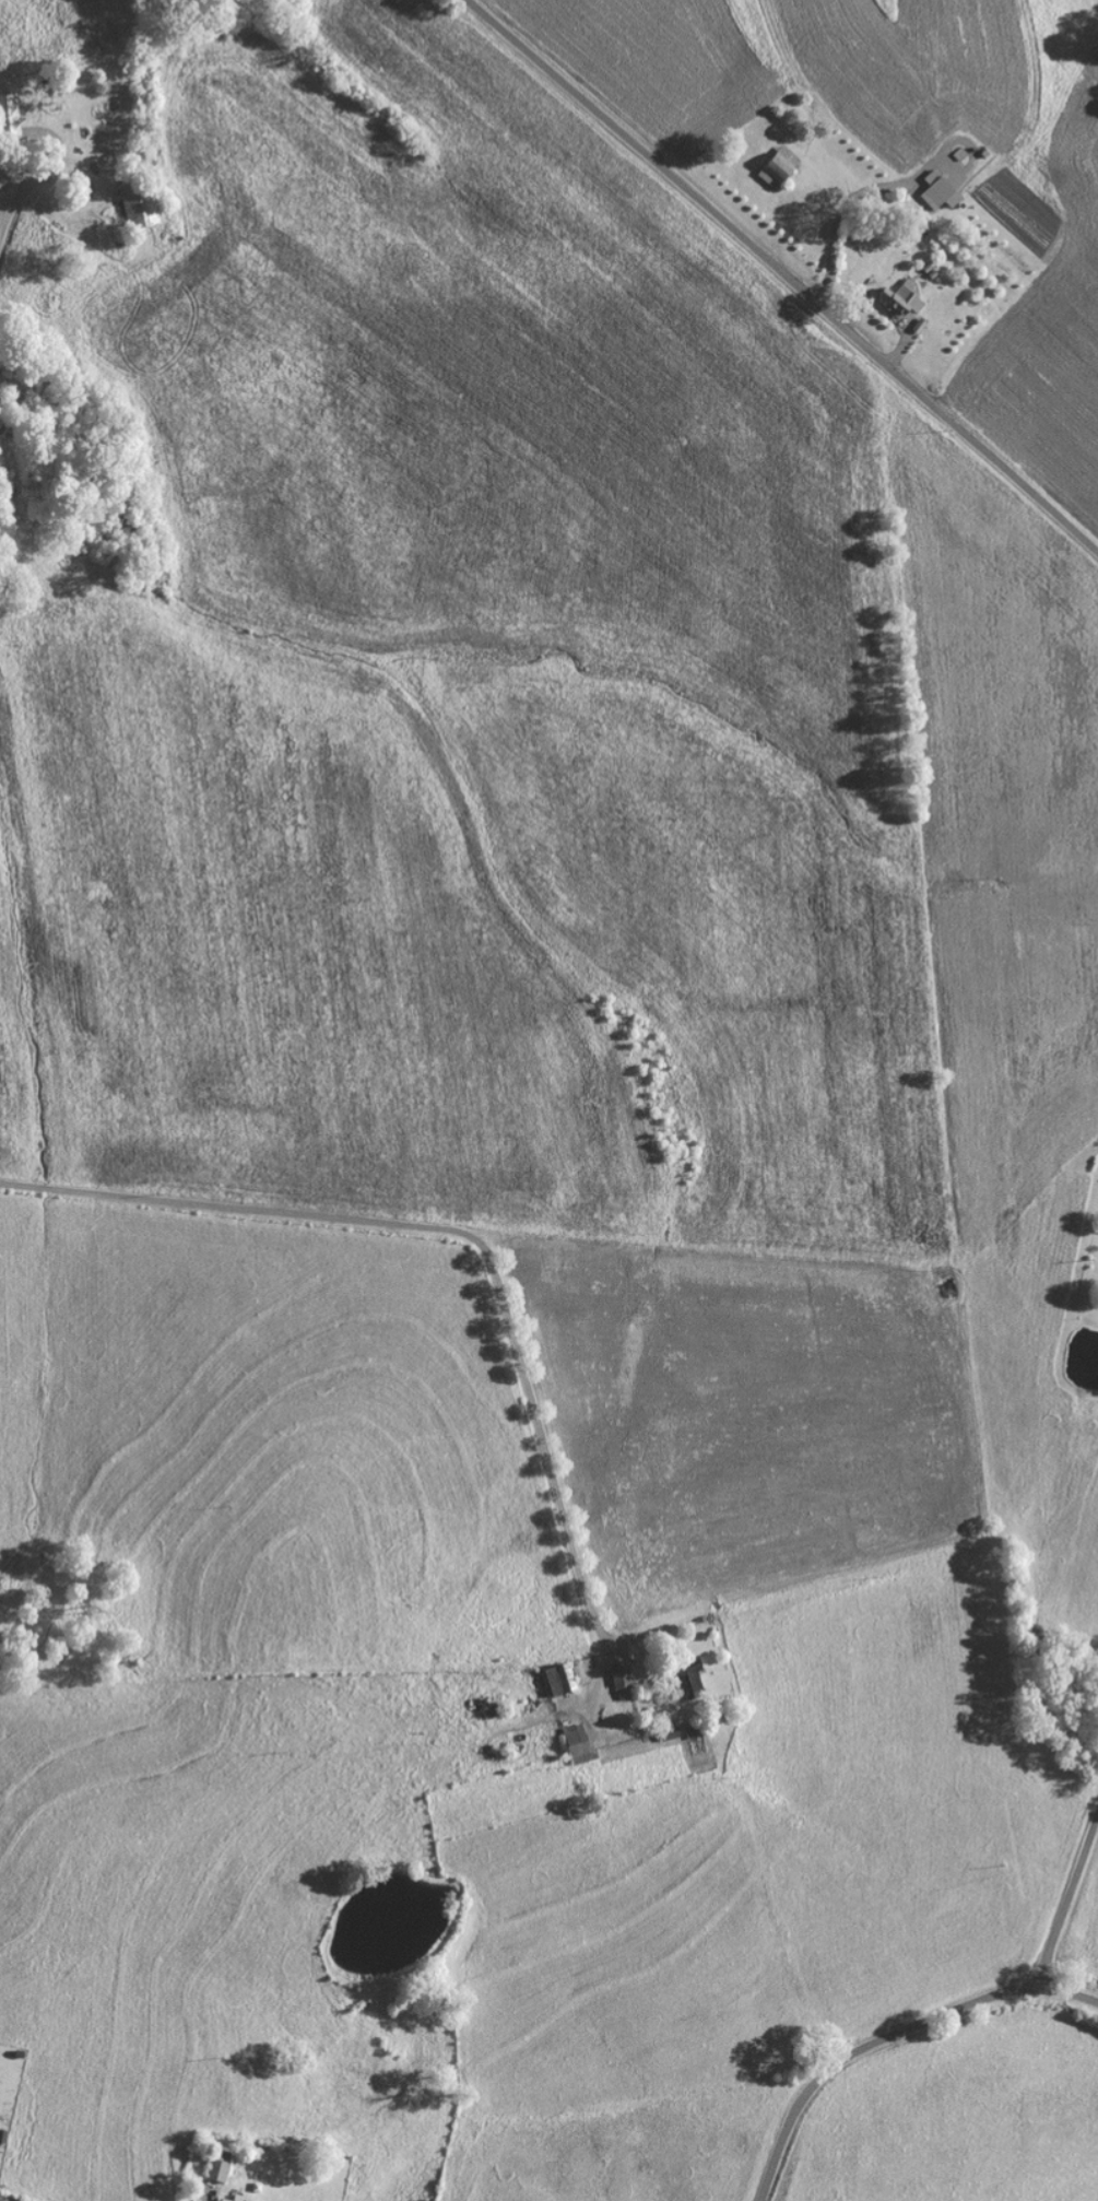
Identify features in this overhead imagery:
building: (782, 167)
building: (942, 191)
building: (141, 207)
road: (784, 273)
building: (905, 299)
road: (499, 1276)
building: (568, 1680)
building: (625, 1683)
building: (693, 1684)
road: (1095, 1695)
road: (1067, 1903)
road: (92, 2026)
road: (889, 2037)
building: (220, 2169)
building: (237, 2198)

